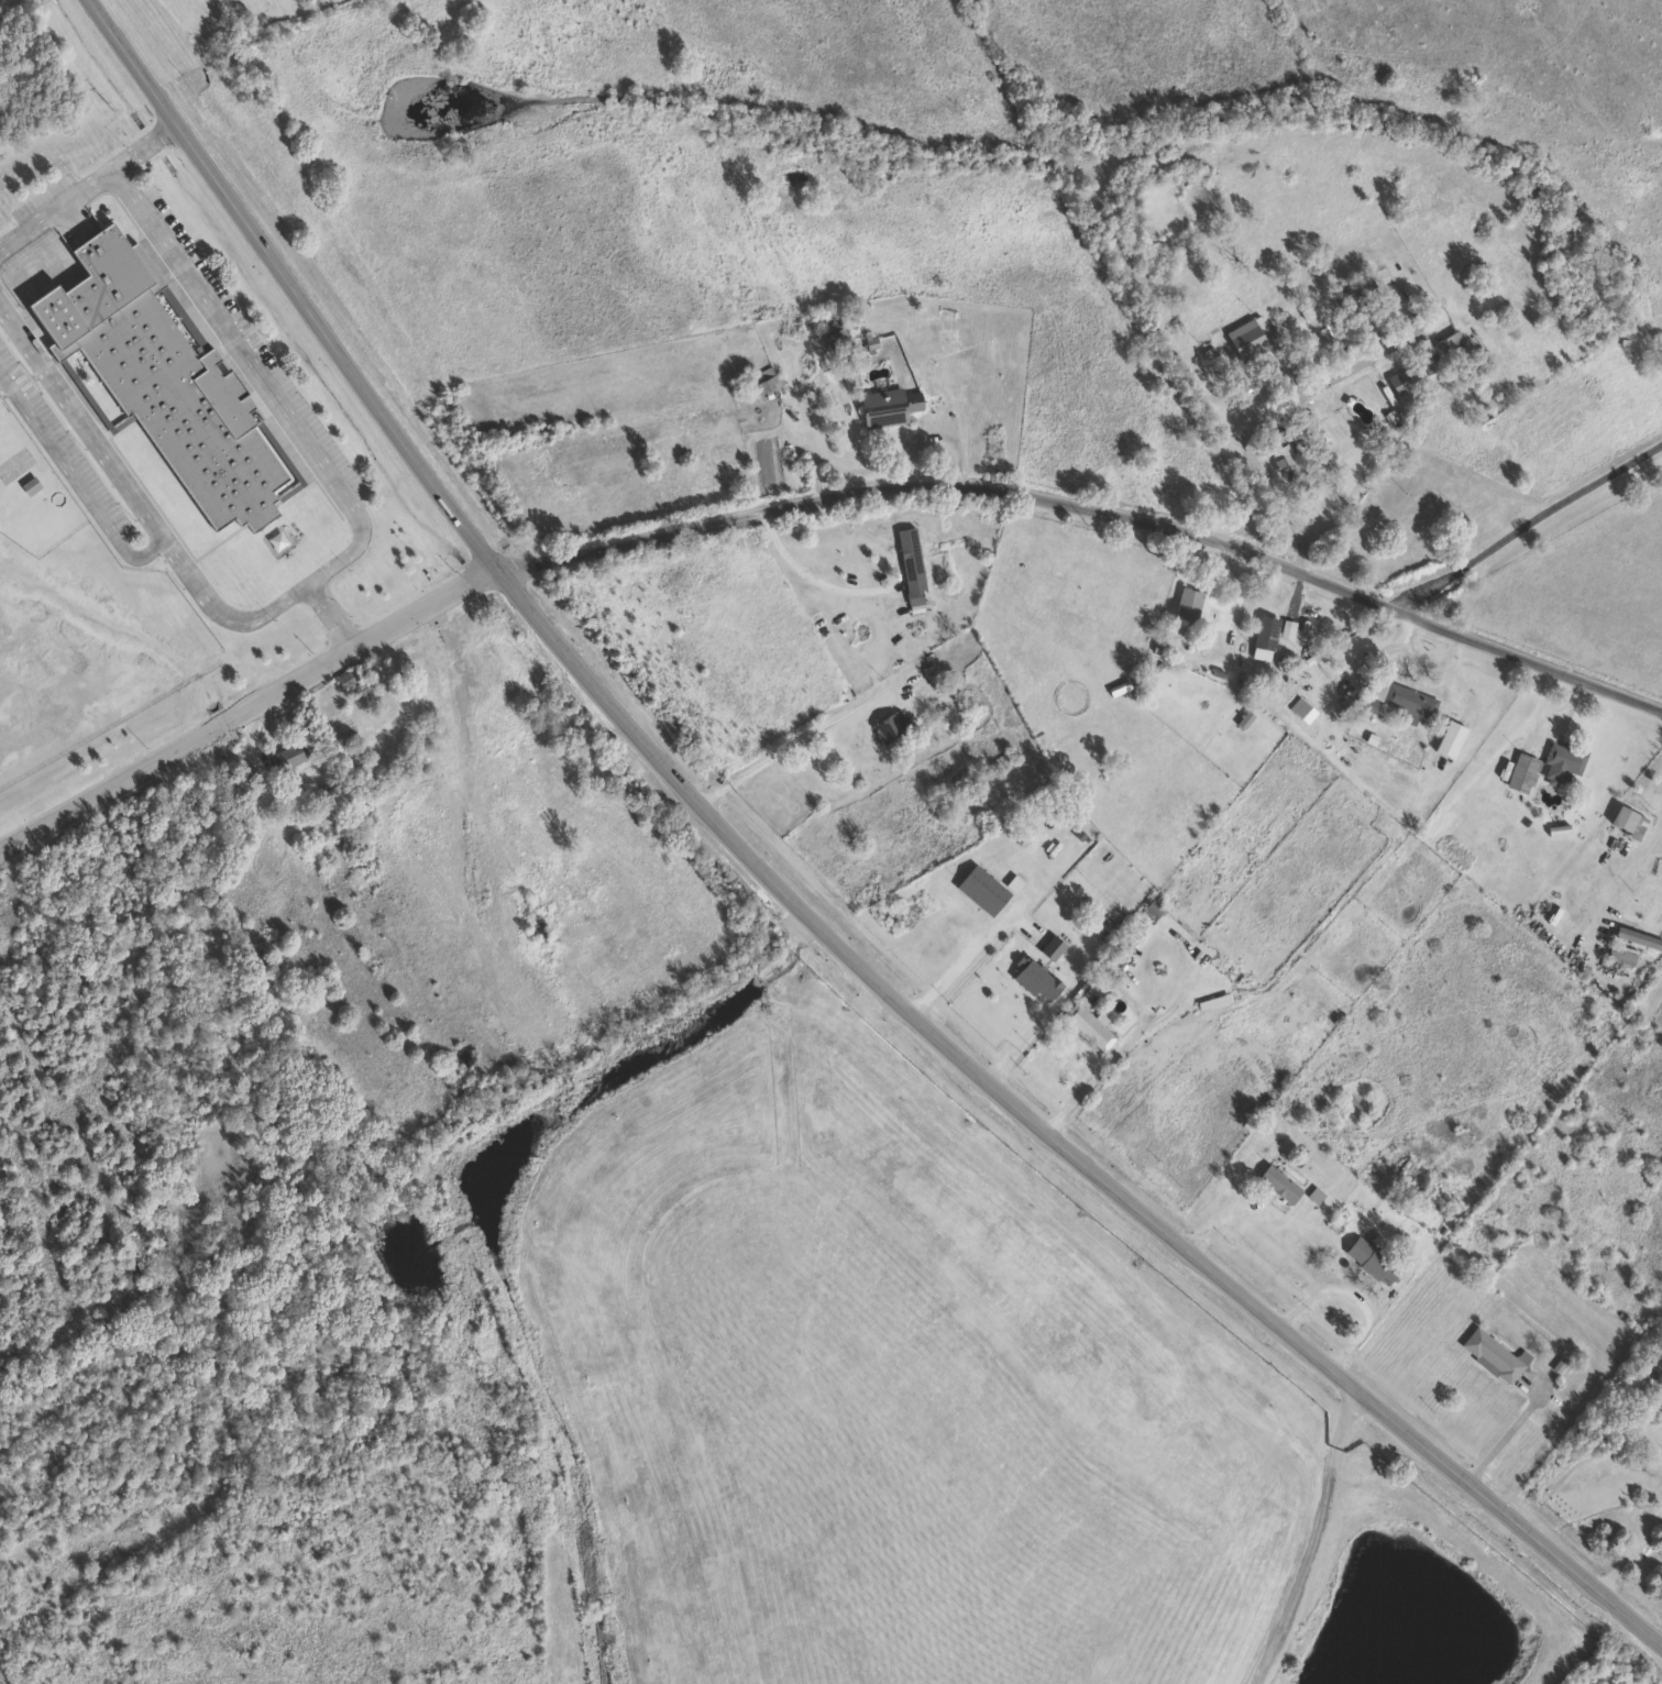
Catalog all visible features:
park: (216, 26)
road: (87, 180)
road: (968, 242)
building: (1389, 289)
building: (1362, 305)
building: (1328, 320)
building: (834, 332)
building: (1250, 338)
building: (1449, 340)
building: (1429, 361)
building: (145, 370)
building: (764, 378)
building: (1402, 378)
road: (783, 383)
building: (887, 405)
road: (1283, 405)
building: (1321, 442)
road: (74, 478)
building: (29, 484)
road: (810, 504)
road: (1527, 524)
building: (907, 552)
road: (328, 566)
road: (811, 574)
building: (912, 594)
building: (1187, 603)
road: (330, 613)
building: (1264, 634)
building: (1408, 702)
building: (1366, 703)
building: (494, 715)
building: (889, 725)
road: (792, 747)
building: (287, 755)
building: (1561, 759)
building: (1000, 760)
building: (1521, 771)
building: (1626, 821)
road: (1633, 860)
building: (981, 889)
road: (790, 906)
building: (1151, 909)
building: (1050, 946)
building: (1622, 947)
road: (961, 960)
building: (1034, 979)
building: (1088, 1025)
road: (1092, 1081)
building: (1277, 1184)
road: (1222, 1213)
building: (1371, 1259)
road: (1354, 1294)
building: (1493, 1355)
road: (1505, 1435)
road: (1313, 1544)
road: (1629, 1553)

